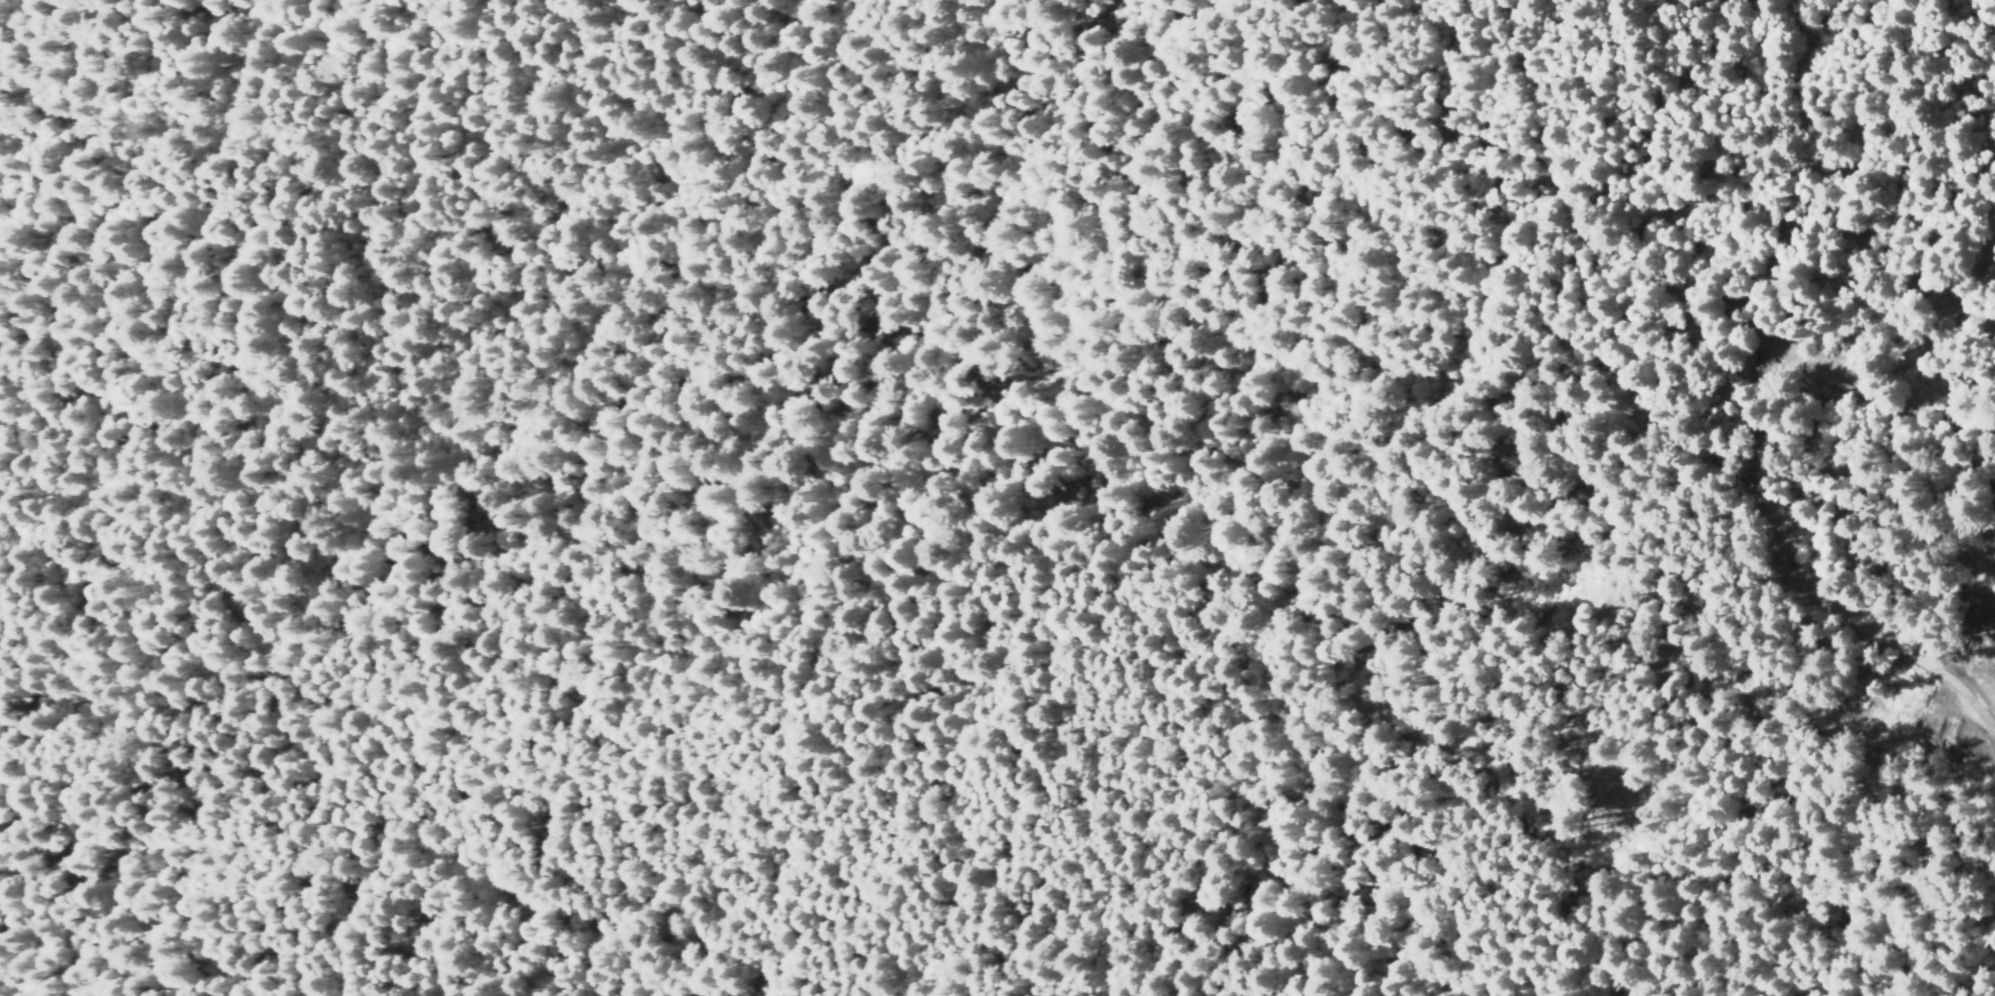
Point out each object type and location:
road: (1690, 275)
road: (1946, 468)

